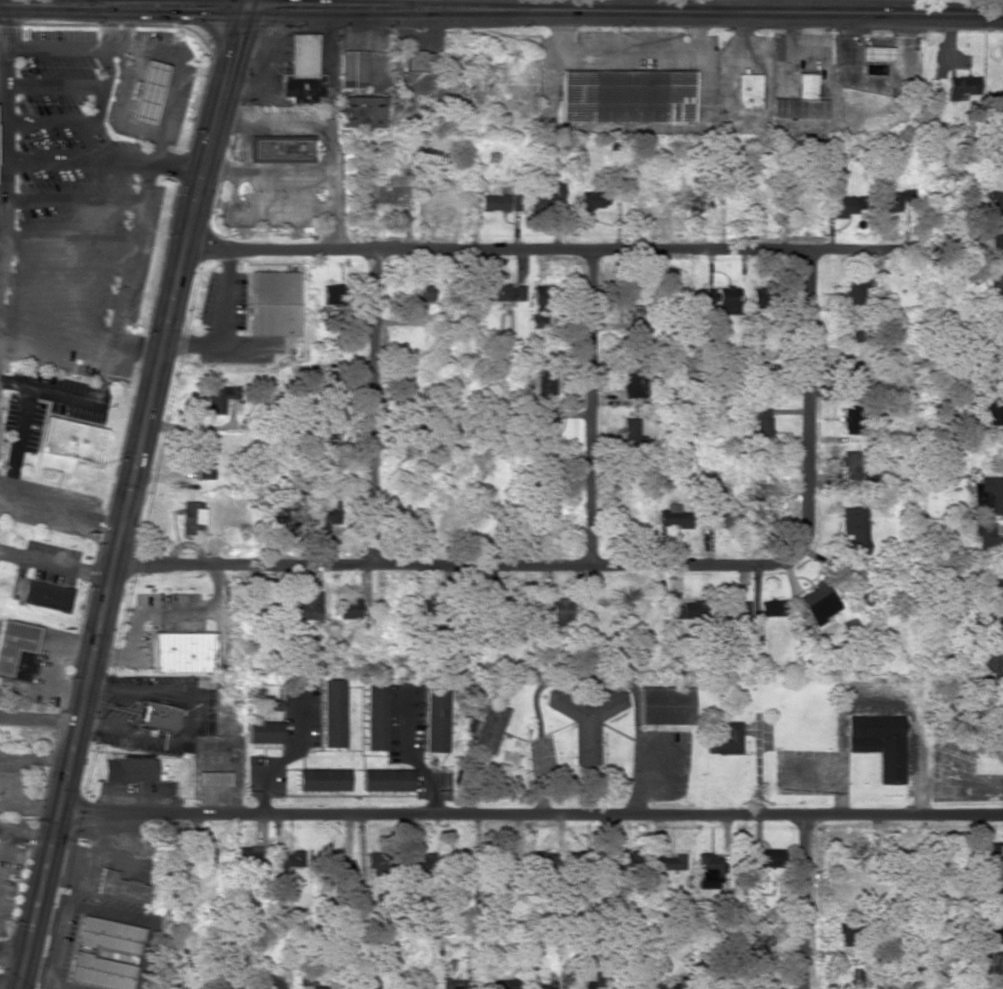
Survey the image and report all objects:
road: (467, 6)
road: (120, 8)
traffic signals: (240, 11)
road: (621, 13)
road: (54, 47)
building: (417, 61)
building: (352, 69)
building: (875, 69)
building: (302, 71)
road: (53, 85)
road: (103, 85)
building: (963, 87)
building: (746, 90)
building: (147, 92)
building: (627, 96)
building: (801, 101)
building: (361, 111)
road: (49, 121)
road: (3, 129)
building: (282, 148)
building: (999, 161)
road: (102, 162)
road: (151, 166)
building: (894, 199)
building: (437, 200)
building: (592, 200)
building: (995, 200)
building: (515, 202)
building: (696, 202)
road: (73, 203)
building: (493, 203)
building: (846, 205)
road: (69, 239)
building: (996, 247)
road: (546, 249)
building: (996, 286)
road: (61, 289)
building: (854, 291)
building: (419, 292)
building: (503, 292)
building: (333, 294)
building: (723, 299)
building: (762, 299)
building: (275, 303)
building: (635, 315)
building: (537, 320)
building: (999, 329)
road: (80, 333)
building: (537, 340)
building: (851, 374)
building: (632, 383)
building: (546, 384)
building: (761, 384)
building: (219, 397)
road: (80, 399)
road: (593, 406)
road: (372, 407)
building: (995, 413)
building: (851, 421)
building: (762, 425)
building: (546, 427)
building: (631, 432)
road: (18, 442)
building: (67, 444)
building: (203, 460)
building: (867, 474)
building: (759, 485)
road: (128, 493)
building: (988, 496)
road: (60, 510)
building: (190, 517)
building: (674, 517)
building: (727, 519)
building: (281, 520)
building: (855, 530)
building: (985, 536)
road: (609, 564)
road: (55, 565)
building: (46, 596)
building: (819, 602)
building: (741, 605)
building: (772, 608)
building: (305, 609)
building: (348, 609)
building: (267, 611)
building: (683, 611)
building: (559, 612)
building: (990, 626)
building: (18, 650)
building: (184, 652)
building: (991, 664)
road: (52, 665)
building: (989, 702)
building: (665, 706)
building: (332, 713)
building: (159, 716)
building: (375, 716)
building: (587, 717)
building: (435, 719)
road: (39, 721)
building: (491, 728)
building: (263, 732)
building: (725, 740)
building: (879, 743)
road: (47, 758)
building: (129, 770)
building: (212, 779)
building: (321, 780)
building: (385, 780)
road: (19, 800)
road: (531, 816)
building: (988, 851)
building: (249, 854)
building: (202, 855)
building: (291, 858)
building: (763, 858)
building: (541, 859)
building: (624, 859)
building: (669, 862)
building: (374, 864)
building: (336, 865)
building: (708, 870)
building: (120, 887)
building: (994, 888)
road: (805, 903)
building: (992, 932)
building: (846, 934)
building: (108, 935)
building: (990, 962)
building: (100, 972)
building: (272, 982)
building: (365, 984)
building: (452, 984)
building: (503, 984)
building: (320, 985)
building: (671, 985)
building: (230, 986)
building: (419, 986)

